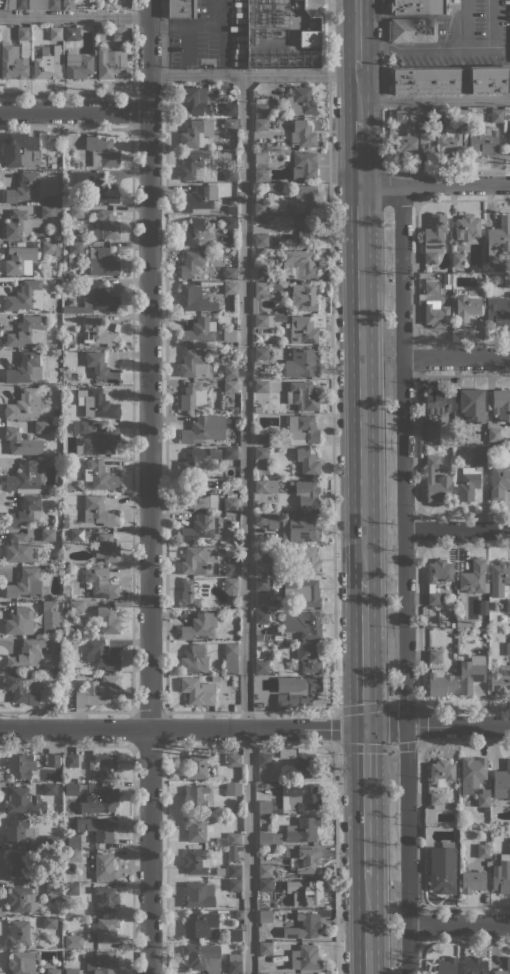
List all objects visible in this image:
building: (14, 4)
building: (43, 4)
building: (68, 4)
building: (418, 7)
building: (180, 9)
road: (74, 17)
road: (466, 23)
building: (101, 29)
building: (411, 29)
road: (356, 32)
building: (23, 33)
building: (55, 33)
building: (71, 33)
building: (119, 33)
power substation: (282, 34)
building: (277, 35)
building: (309, 36)
road: (448, 47)
building: (13, 62)
building: (47, 63)
building: (109, 63)
building: (78, 65)
road: (253, 74)
building: (450, 79)
road: (384, 84)
road: (357, 91)
road: (113, 95)
building: (193, 98)
road: (433, 99)
building: (300, 101)
building: (229, 109)
building: (260, 109)
road: (74, 112)
building: (458, 115)
building: (496, 115)
building: (403, 116)
building: (229, 124)
building: (261, 124)
building: (195, 132)
building: (302, 134)
building: (484, 140)
building: (448, 141)
building: (411, 142)
building: (260, 145)
building: (21, 150)
building: (509, 150)
road: (358, 151)
building: (101, 152)
building: (274, 153)
building: (192, 163)
building: (303, 166)
road: (448, 168)
building: (230, 175)
building: (261, 175)
road: (393, 176)
road: (434, 184)
building: (22, 187)
building: (96, 187)
building: (197, 198)
building: (305, 198)
building: (56, 201)
building: (260, 207)
building: (231, 209)
building: (49, 212)
building: (76, 212)
building: (229, 222)
building: (20, 225)
building: (104, 225)
building: (466, 227)
building: (306, 230)
building: (195, 232)
building: (56, 237)
building: (433, 237)
building: (498, 239)
building: (260, 240)
building: (58, 244)
building: (49, 248)
building: (75, 248)
building: (458, 259)
building: (20, 260)
building: (102, 262)
building: (190, 263)
building: (299, 264)
building: (259, 267)
building: (427, 269)
building: (230, 273)
building: (507, 280)
building: (230, 288)
building: (261, 288)
building: (430, 288)
building: (25, 297)
building: (303, 297)
building: (194, 298)
building: (93, 299)
building: (255, 305)
building: (466, 307)
building: (498, 310)
building: (438, 315)
building: (263, 321)
building: (198, 330)
building: (302, 330)
building: (28, 331)
building: (95, 333)
building: (261, 353)
road: (330, 355)
road: (456, 357)
building: (302, 363)
building: (194, 364)
building: (25, 368)
building: (101, 368)
building: (230, 371)
road: (361, 382)
building: (230, 386)
building: (261, 386)
building: (46, 388)
building: (302, 395)
building: (192, 396)
building: (436, 402)
building: (24, 404)
building: (472, 404)
building: (99, 405)
building: (500, 405)
building: (235, 409)
building: (257, 410)
building: (56, 425)
building: (41, 426)
building: (82, 426)
building: (204, 429)
building: (302, 429)
building: (460, 431)
building: (432, 434)
building: (494, 434)
building: (261, 438)
road: (164, 439)
building: (22, 442)
building: (100, 442)
building: (215, 453)
building: (230, 453)
building: (480, 454)
building: (260, 461)
building: (191, 462)
building: (307, 462)
building: (100, 475)
building: (26, 478)
building: (444, 479)
building: (499, 480)
building: (468, 483)
building: (77, 484)
road: (148, 486)
building: (266, 486)
building: (68, 487)
building: (50, 488)
building: (306, 493)
building: (196, 495)
building: (230, 503)
building: (258, 507)
building: (25, 511)
building: (98, 511)
building: (76, 519)
building: (266, 519)
building: (65, 524)
road: (245, 524)
building: (202, 527)
building: (301, 528)
road: (456, 530)
building: (48, 535)
building: (76, 535)
building: (257, 538)
building: (106, 547)
building: (263, 547)
building: (18, 548)
building: (197, 559)
building: (305, 559)
building: (230, 569)
building: (261, 569)
building: (473, 577)
building: (499, 577)
building: (276, 579)
road: (403, 579)
building: (431, 582)
building: (98, 583)
building: (26, 584)
building: (230, 584)
building: (261, 585)
building: (195, 592)
building: (301, 592)
building: (508, 605)
building: (49, 607)
building: (75, 607)
building: (483, 607)
building: (108, 620)
building: (22, 621)
building: (460, 622)
building: (291, 623)
building: (466, 624)
building: (199, 625)
building: (44, 628)
building: (508, 649)
road: (363, 653)
building: (100, 654)
building: (29, 655)
building: (309, 657)
building: (434, 657)
building: (230, 658)
building: (194, 660)
building: (261, 667)
building: (57, 669)
building: (469, 676)
building: (215, 678)
building: (501, 680)
building: (234, 681)
building: (439, 682)
building: (23, 688)
building: (297, 690)
building: (96, 691)
building: (197, 691)
building: (233, 697)
road: (391, 707)
road: (391, 725)
road: (420, 725)
road: (437, 725)
road: (335, 726)
road: (182, 727)
traffic signals: (365, 728)
road: (391, 743)
building: (286, 753)
building: (264, 759)
building: (53, 760)
building: (71, 760)
building: (233, 760)
building: (21, 765)
building: (305, 765)
building: (103, 766)
building: (196, 766)
building: (441, 772)
building: (472, 773)
road: (166, 774)
building: (502, 782)
building: (232, 787)
building: (49, 788)
building: (71, 789)
building: (301, 796)
building: (195, 798)
building: (99, 800)
building: (436, 800)
building: (483, 800)
building: (24, 801)
road: (364, 801)
building: (264, 807)
building: (238, 817)
building: (98, 827)
building: (195, 829)
building: (302, 829)
building: (18, 831)
building: (269, 839)
building: (229, 840)
building: (52, 841)
building: (71, 841)
building: (483, 849)
building: (232, 853)
building: (75, 855)
road: (337, 859)
building: (301, 860)
building: (196, 861)
building: (18, 862)
building: (104, 867)
building: (442, 868)
building: (233, 870)
building: (264, 870)
building: (502, 874)
building: (50, 875)
building: (472, 880)
building: (265, 884)
building: (234, 885)
building: (71, 888)
building: (52, 890)
building: (198, 894)
building: (308, 894)
building: (22, 899)
building: (106, 899)
building: (266, 915)
building: (49, 922)
road: (366, 924)
road: (458, 924)
building: (199, 925)
building: (307, 925)
building: (104, 930)
building: (18, 933)
building: (234, 934)
building: (74, 941)
building: (265, 948)
building: (66, 952)
building: (202, 957)
building: (305, 958)
building: (22, 962)
building: (102, 963)
building: (234, 963)
building: (508, 963)
building: (474, 965)
building: (444, 966)
building: (52, 971)
building: (70, 971)
building: (263, 973)

